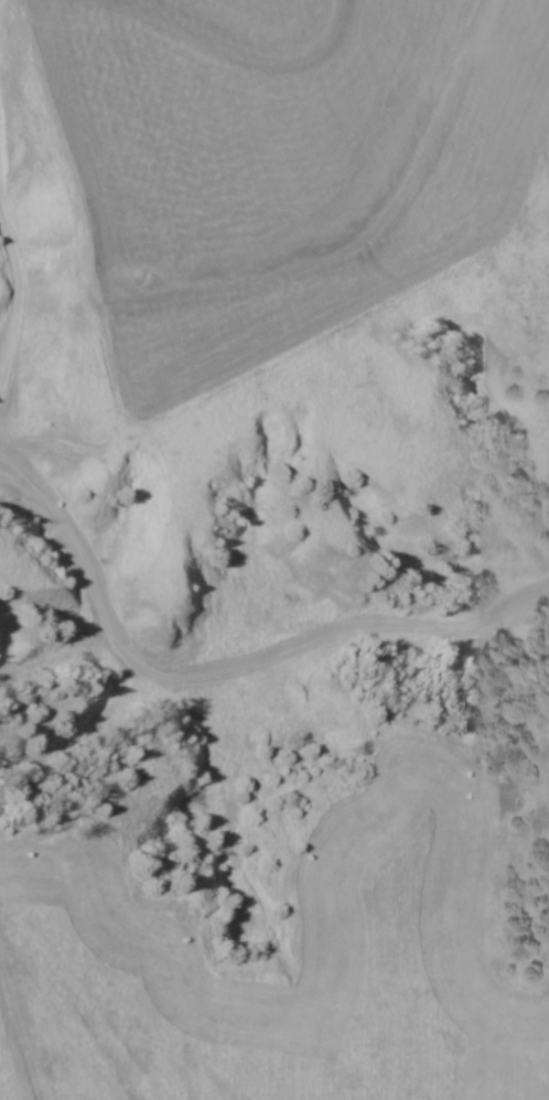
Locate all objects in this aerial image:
road: (20, 1034)

